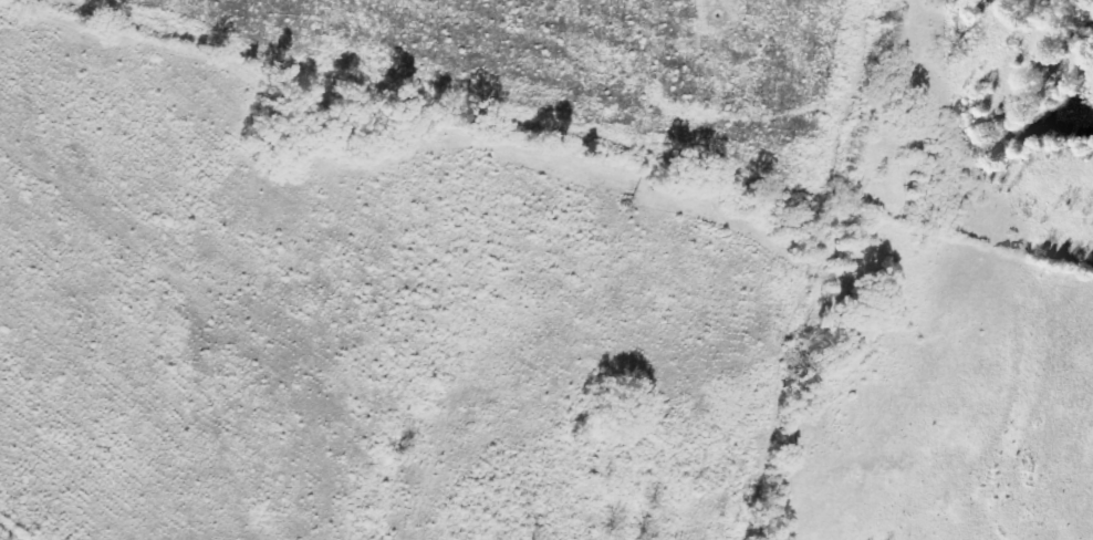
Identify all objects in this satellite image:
road: (9, 531)

